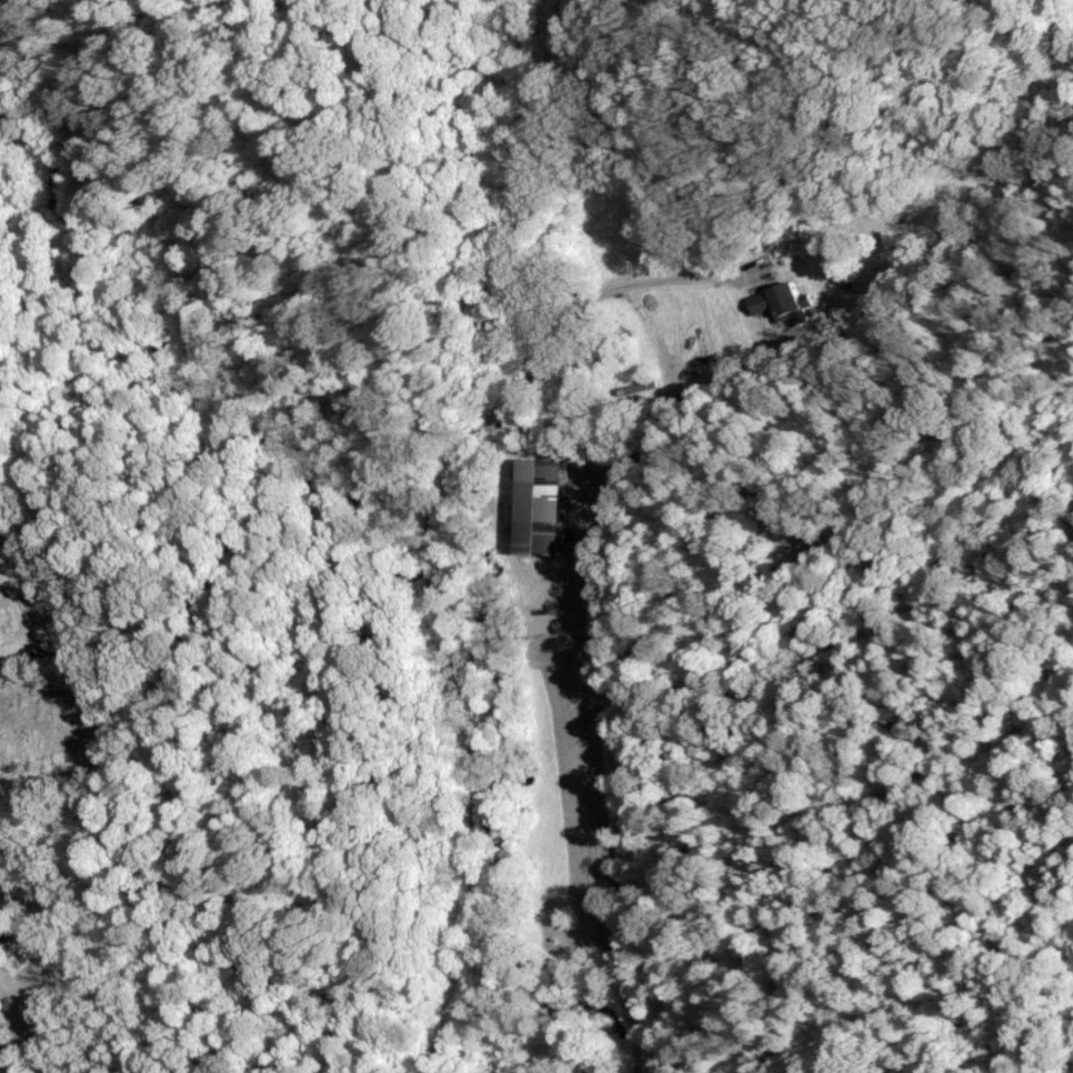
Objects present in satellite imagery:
building: (780, 303)
building: (548, 507)
road: (433, 588)
building: (7, 903)
road: (3, 1064)

